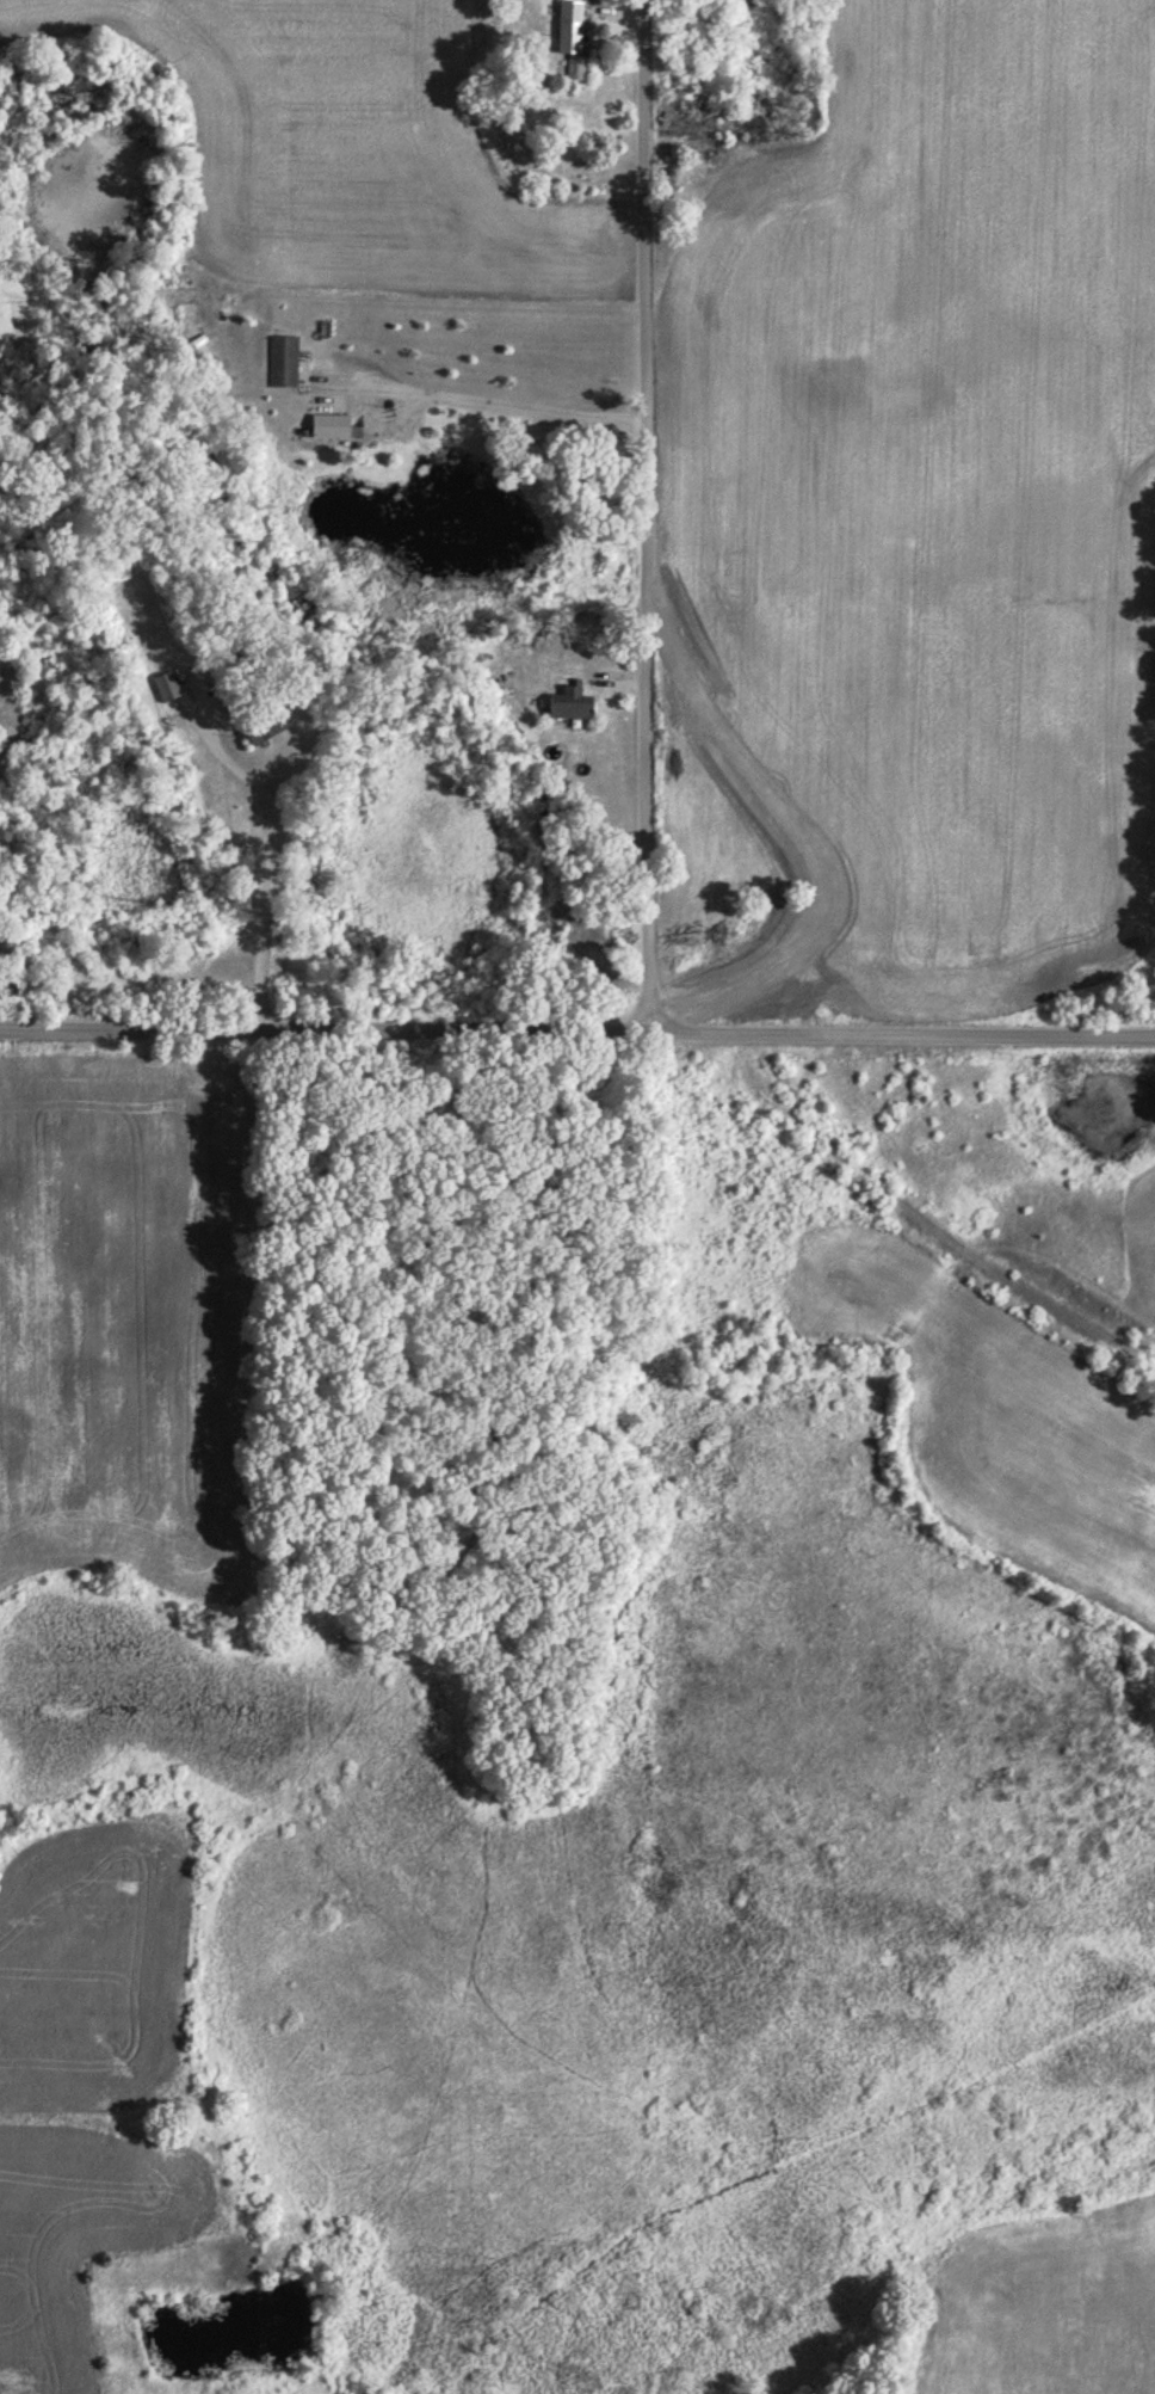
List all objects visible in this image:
building: (572, 24)
building: (576, 66)
building: (284, 358)
building: (333, 424)
road: (644, 518)
building: (167, 684)
building: (574, 702)
road: (577, 1035)

